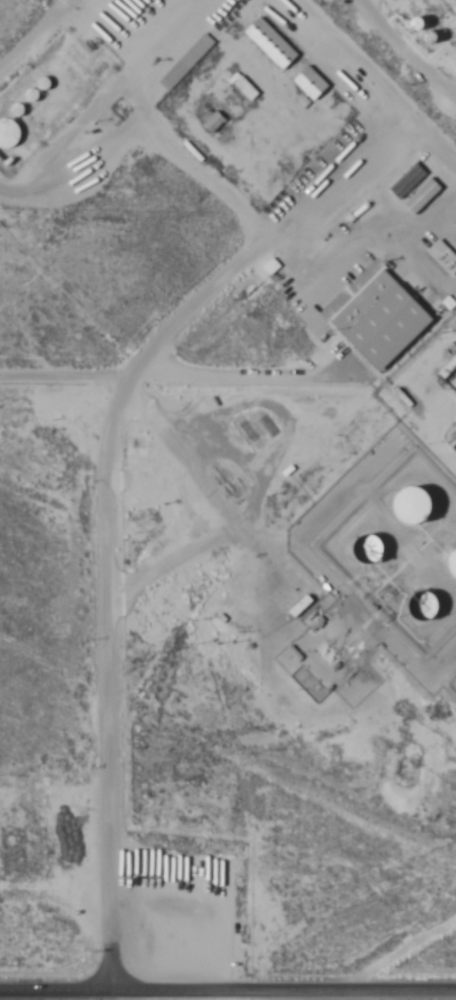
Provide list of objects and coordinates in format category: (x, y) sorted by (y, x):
road: (382, 9)
building: (431, 36)
building: (270, 43)
building: (185, 62)
road: (397, 66)
building: (310, 83)
building: (244, 87)
building: (8, 132)
building: (407, 180)
building: (443, 257)
building: (382, 320)
building: (453, 326)
building: (448, 367)
road: (228, 390)
road: (106, 488)
building: (413, 505)
building: (372, 548)
building: (452, 563)
building: (430, 603)
building: (300, 605)
road: (228, 978)

